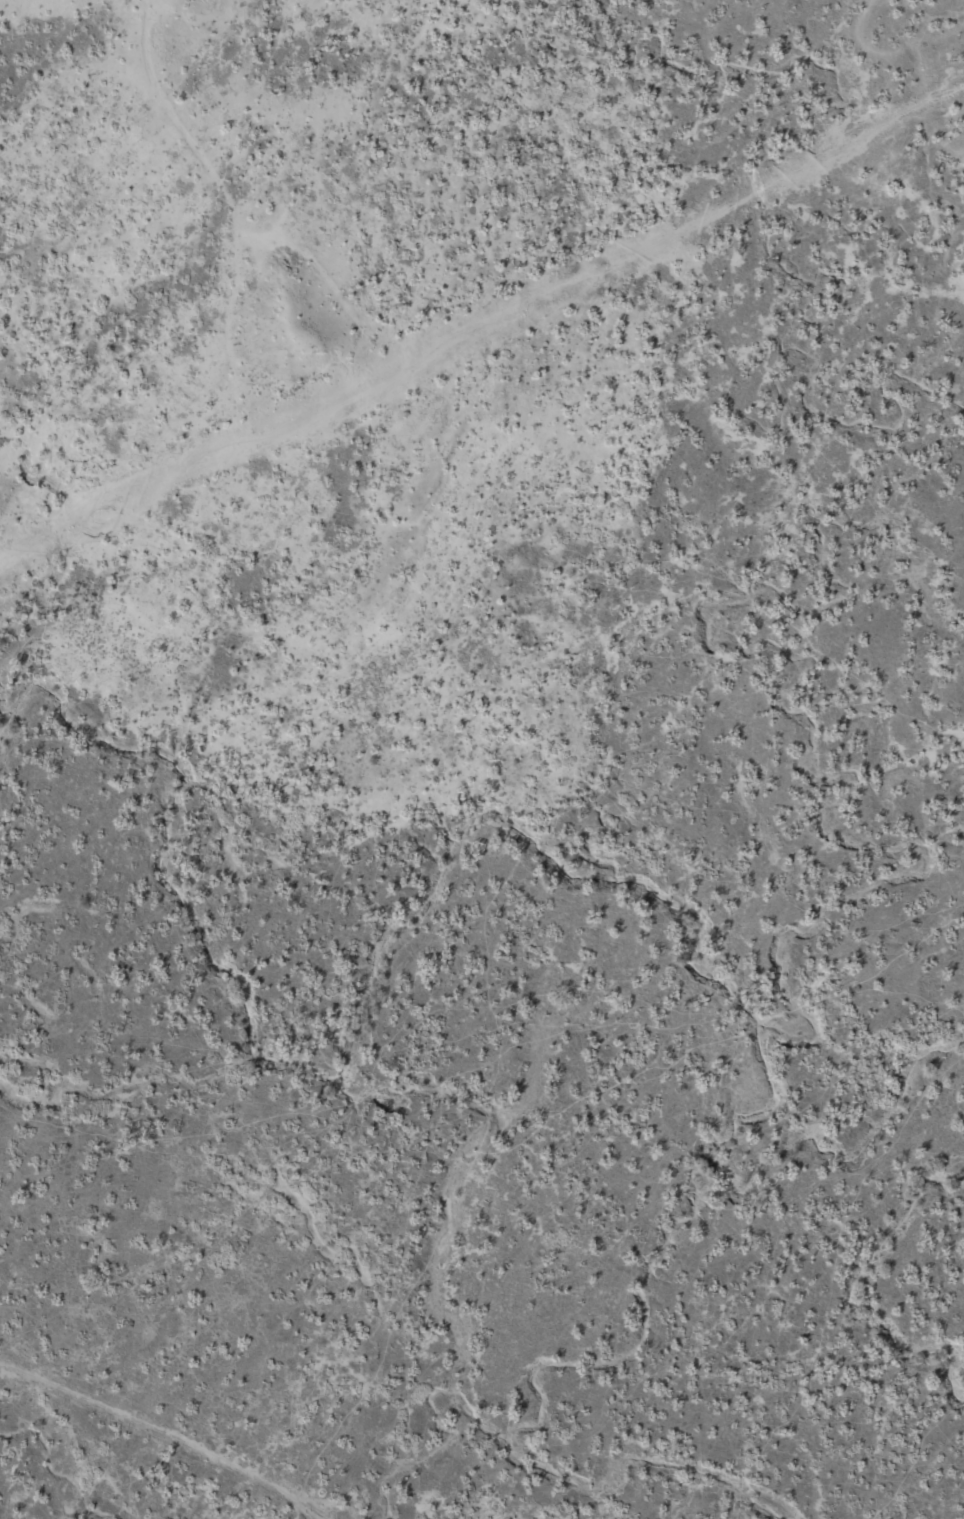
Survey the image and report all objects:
road: (465, 292)
road: (219, 327)
road: (205, 396)
road: (170, 1434)

